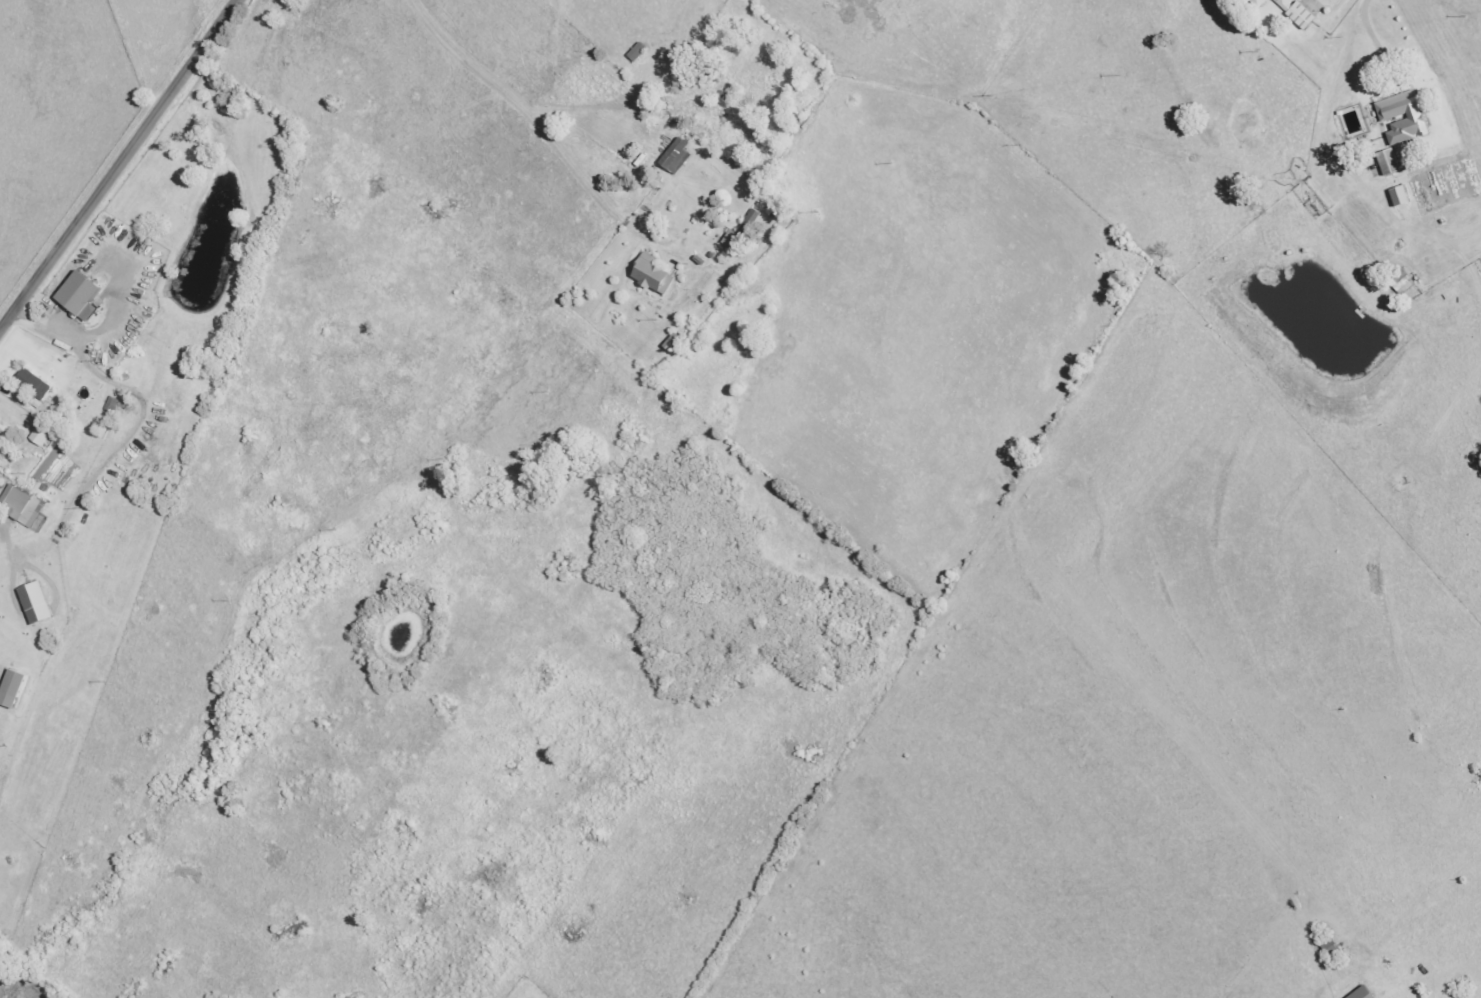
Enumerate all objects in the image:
building: (1256, 2)
road: (1309, 2)
building: (1282, 3)
building: (1298, 15)
road: (688, 29)
building: (632, 53)
road: (1343, 71)
building: (1399, 117)
road: (555, 141)
building: (673, 156)
building: (1386, 162)
road: (117, 164)
building: (1396, 196)
building: (739, 232)
building: (649, 274)
building: (75, 296)
building: (669, 342)
building: (31, 384)
building: (110, 404)
building: (22, 507)
building: (32, 603)
building: (16, 687)
building: (1359, 993)

